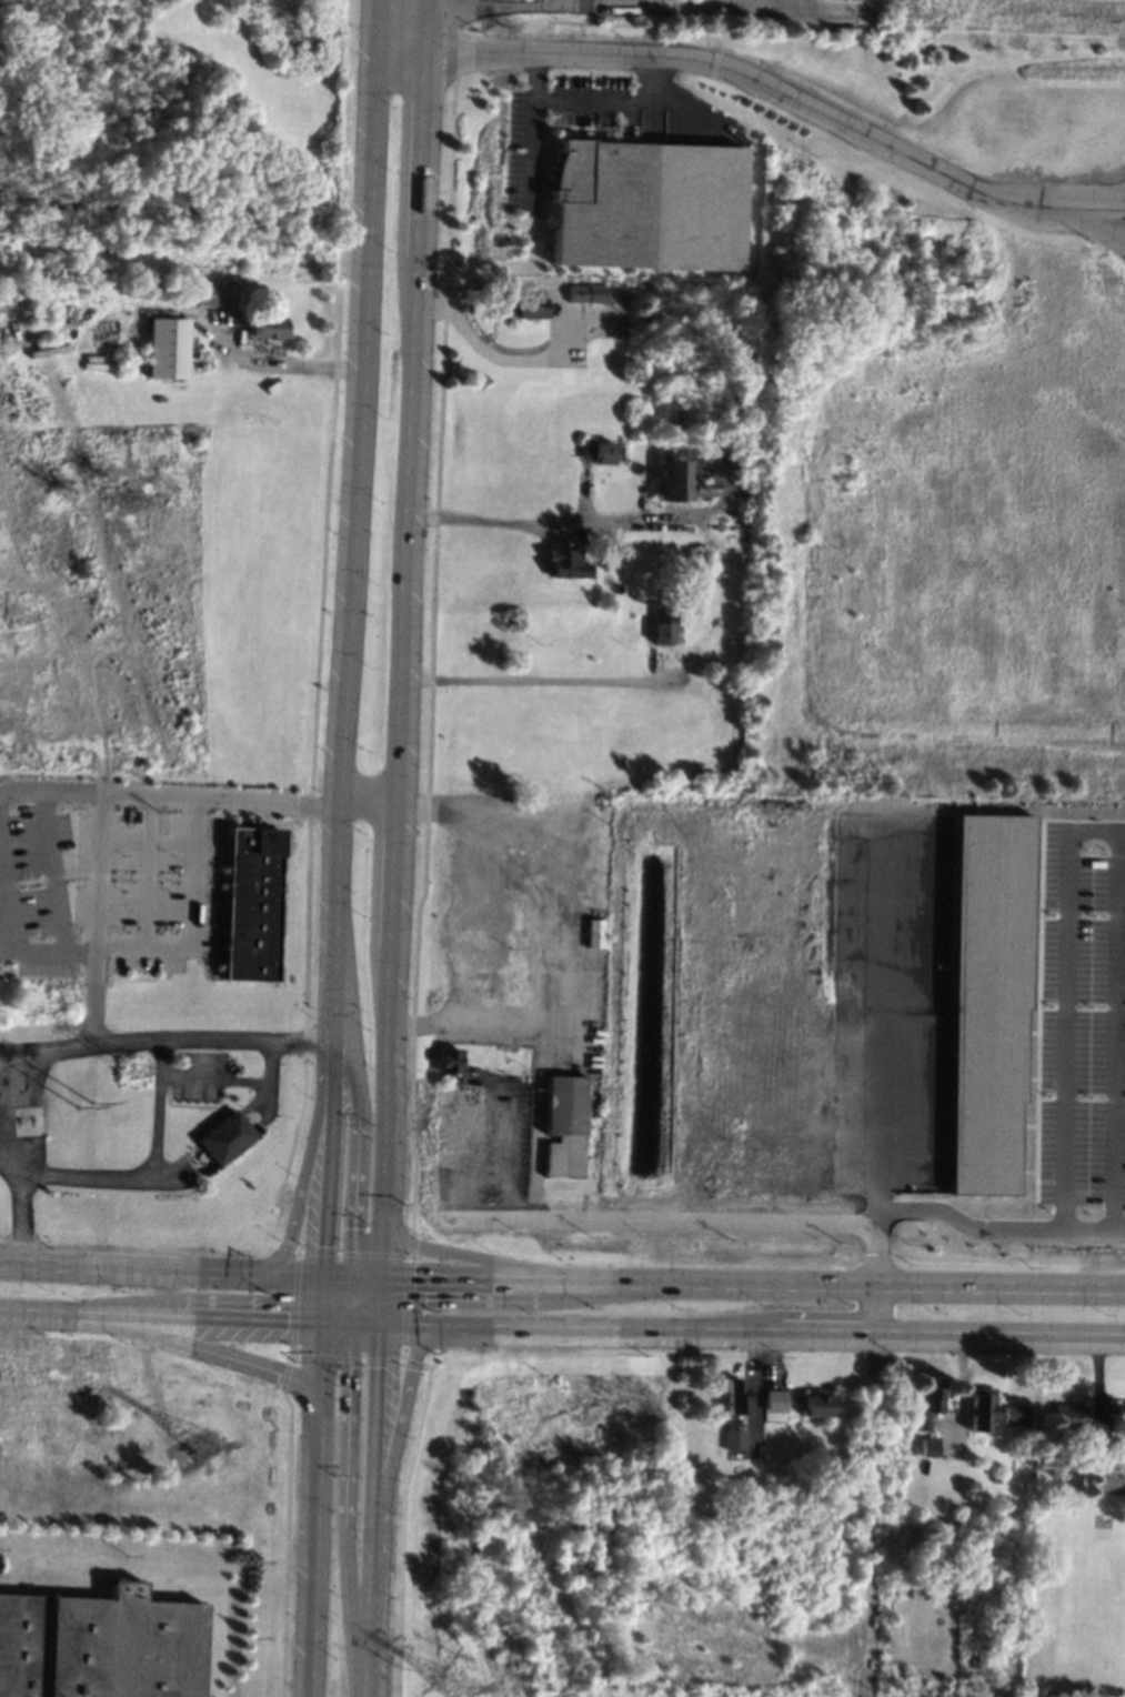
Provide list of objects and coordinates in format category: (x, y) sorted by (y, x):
road: (501, 6)
road: (761, 80)
road: (614, 103)
road: (531, 132)
parking lot: (524, 171)
building: (602, 203)
building: (172, 290)
building: (182, 292)
building: (213, 293)
building: (585, 293)
building: (528, 307)
building: (267, 325)
road: (552, 344)
building: (168, 347)
road: (287, 366)
building: (600, 451)
road: (356, 474)
building: (677, 474)
road: (528, 523)
building: (610, 556)
building: (563, 562)
road: (405, 609)
power tower: (20, 616)
building: (661, 625)
building: (704, 663)
road: (531, 681)
road: (199, 796)
road: (1092, 825)
road: (147, 870)
road: (52, 871)
road: (539, 874)
parking lot: (151, 887)
parking lot: (34, 894)
building: (252, 904)
road: (98, 918)
road: (192, 920)
road: (14, 930)
building: (594, 933)
road: (329, 995)
road: (338, 996)
building: (987, 997)
parking lot: (1083, 1013)
road: (883, 1020)
road: (297, 1041)
road: (330, 1042)
road: (539, 1048)
road: (51, 1054)
road: (22, 1056)
building: (452, 1061)
power tower: (138, 1067)
parking lot: (198, 1075)
road: (234, 1078)
road: (358, 1085)
power tower: (90, 1105)
building: (565, 1124)
building: (227, 1137)
road: (11, 1144)
road: (506, 1146)
parking lot: (495, 1152)
road: (331, 1159)
road: (308, 1163)
road: (157, 1177)
road: (469, 1189)
road: (712, 1217)
traffic signals: (355, 1228)
road: (991, 1228)
traffic signals: (329, 1246)
road: (384, 1248)
road: (478, 1258)
road: (133, 1267)
road: (297, 1275)
road: (343, 1277)
road: (371, 1278)
traffic signals: (420, 1279)
road: (754, 1283)
road: (327, 1299)
road: (339, 1301)
road: (370, 1302)
road: (382, 1303)
road: (163, 1315)
traffic signals: (292, 1322)
road: (338, 1323)
road: (365, 1325)
road: (753, 1332)
road: (210, 1349)
traffic signals: (352, 1367)
traffic signals: (379, 1367)
traffic signals: (283, 1373)
building: (734, 1396)
building: (774, 1399)
building: (818, 1405)
building: (926, 1405)
building: (978, 1407)
building: (1014, 1414)
building: (1076, 1418)
building: (733, 1438)
power tower: (207, 1445)
building: (928, 1445)
building: (907, 1448)
road: (394, 1454)
building: (994, 1478)
building: (1107, 1480)
road: (319, 1509)
road: (346, 1510)
road: (372, 1510)
road: (868, 1515)
park: (466, 1553)
building: (101, 1645)
building: (970, 1660)
power tower: (459, 1689)
building: (908, 1689)

